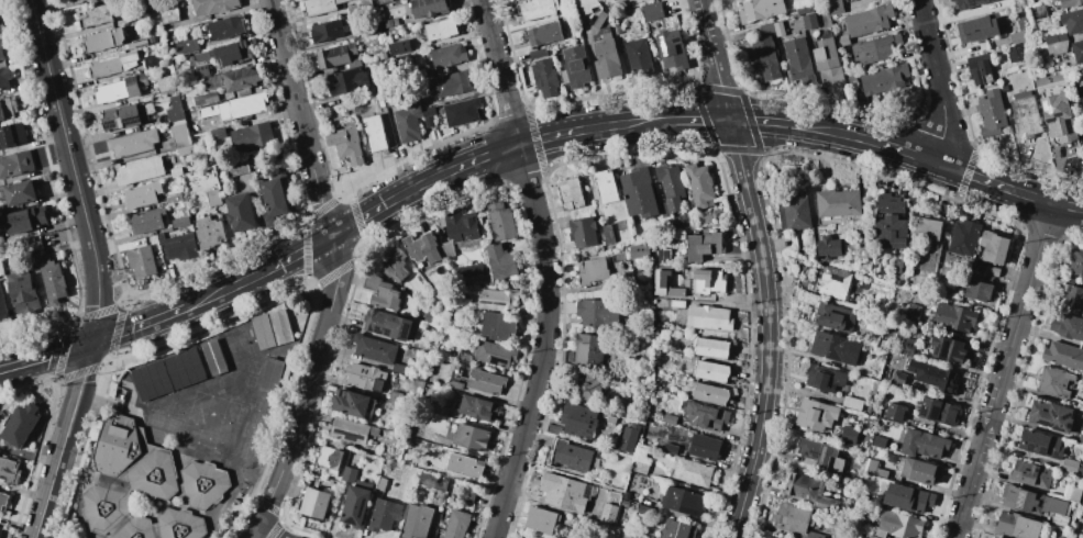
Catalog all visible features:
building: (90, 0)
building: (612, 0)
building: (615, 0)
building: (952, 0)
building: (1054, 0)
building: (77, 1)
building: (384, 1)
building: (1071, 2)
building: (971, 3)
building: (212, 5)
building: (361, 5)
building: (586, 5)
building: (836, 5)
building: (804, 7)
building: (319, 8)
building: (429, 8)
building: (539, 9)
building: (653, 9)
building: (760, 10)
building: (1039, 12)
building: (168, 14)
building: (96, 16)
building: (599, 20)
building: (870, 21)
building: (1073, 21)
building: (393, 22)
building: (809, 22)
building: (650, 25)
building: (226, 27)
building: (778, 27)
building: (371, 29)
building: (766, 29)
building: (977, 29)
building: (441, 30)
building: (328, 31)
building: (543, 34)
building: (1016, 38)
building: (102, 40)
building: (151, 40)
building: (842, 41)
building: (136, 43)
building: (1056, 43)
building: (187, 46)
rooftop solar panel: (664, 46)
building: (398, 47)
building: (672, 49)
building: (874, 49)
building: (229, 52)
building: (1078, 52)
building: (1, 53)
building: (1016, 53)
building: (538, 54)
building: (606, 54)
building: (335, 56)
building: (447, 56)
building: (639, 58)
building: (765, 58)
building: (798, 59)
building: (153, 61)
building: (354, 64)
building: (112, 65)
building: (829, 65)
building: (575, 67)
building: (981, 68)
building: (201, 71)
building: (4, 78)
building: (241, 78)
building: (544, 78)
building: (884, 78)
road: (939, 80)
building: (347, 82)
building: (450, 83)
building: (165, 85)
building: (1005, 88)
building: (120, 89)
building: (1080, 90)
building: (210, 98)
building: (379, 100)
building: (246, 105)
building: (8, 109)
building: (175, 109)
building: (462, 111)
building: (992, 113)
building: (1058, 114)
building: (429, 115)
building: (1026, 115)
building: (124, 117)
road: (696, 120)
building: (408, 121)
traffic signals: (728, 121)
road: (759, 121)
rooftop solar panel: (131, 122)
rooftop solar panel: (109, 124)
building: (201, 126)
building: (375, 133)
building: (218, 134)
building: (12, 135)
building: (180, 136)
building: (250, 137)
building: (134, 144)
building: (346, 145)
building: (1073, 152)
road: (937, 162)
building: (15, 165)
building: (237, 167)
road: (71, 170)
building: (140, 171)
building: (177, 172)
building: (287, 183)
building: (699, 184)
building: (671, 186)
building: (605, 187)
road: (415, 188)
building: (20, 192)
building: (639, 192)
building: (142, 194)
building: (571, 194)
building: (175, 198)
building: (213, 198)
building: (274, 199)
building: (838, 204)
building: (889, 204)
building: (795, 211)
building: (241, 212)
building: (26, 220)
building: (148, 222)
building: (181, 222)
building: (500, 222)
building: (927, 228)
building: (458, 231)
building: (584, 232)
building: (891, 232)
building: (209, 233)
building: (607, 234)
building: (963, 237)
building: (179, 246)
building: (704, 246)
building: (421, 247)
building: (638, 250)
building: (994, 251)
building: (618, 258)
building: (142, 261)
building: (501, 261)
building: (1076, 264)
building: (395, 265)
road: (762, 267)
road: (548, 268)
building: (1, 269)
building: (468, 270)
building: (593, 271)
road: (335, 273)
building: (49, 277)
building: (706, 280)
building: (659, 282)
building: (836, 282)
building: (23, 290)
building: (977, 291)
building: (382, 292)
building: (677, 293)
building: (496, 298)
building: (1073, 299)
building: (677, 304)
building: (2, 305)
building: (913, 311)
building: (598, 312)
building: (429, 317)
building: (709, 317)
building: (835, 317)
building: (954, 317)
building: (387, 325)
building: (497, 326)
road: (137, 327)
building: (1070, 327)
traffic signals: (91, 344)
building: (908, 346)
building: (835, 347)
building: (712, 348)
building: (374, 349)
building: (948, 349)
building: (589, 350)
rooftop solar panel: (937, 350)
rooftop solar panel: (946, 351)
building: (210, 354)
building: (495, 355)
building: (1063, 355)
road: (45, 357)
building: (464, 357)
building: (398, 369)
road: (1007, 369)
building: (711, 371)
building: (270, 374)
building: (363, 377)
building: (825, 378)
building: (937, 378)
building: (897, 379)
building: (486, 382)
building: (1054, 382)
building: (455, 385)
building: (587, 388)
road: (78, 390)
building: (710, 394)
building: (395, 396)
building: (852, 403)
building: (353, 404)
building: (476, 408)
building: (894, 412)
rooftop solar panel: (924, 412)
building: (938, 412)
rooftop solar panel: (936, 414)
building: (816, 415)
rooftop solar panel: (1054, 415)
building: (706, 416)
building: (1051, 416)
rooftop solar panel: (1068, 417)
building: (670, 419)
building: (578, 421)
rooftop solar panel: (1045, 423)
building: (434, 424)
building: (20, 425)
rooftop solar panel: (1069, 426)
building: (553, 429)
building: (352, 430)
rooftop solar panel: (1060, 430)
building: (849, 435)
building: (469, 436)
rooftop solar panel: (347, 437)
building: (629, 438)
building: (878, 442)
building: (922, 444)
building: (1040, 444)
building: (705, 447)
rooftop solar panel: (1031, 448)
building: (671, 449)
rooftop solar panel: (1041, 451)
building: (820, 455)
rooftop solar panel: (1056, 455)
building: (570, 456)
rooftop solar panel: (822, 456)
building: (329, 459)
building: (465, 466)
building: (1070, 466)
building: (640, 468)
building: (874, 468)
building: (917, 471)
building: (9, 472)
building: (692, 472)
building: (349, 474)
building: (1031, 474)
building: (432, 481)
building: (380, 483)
building: (202, 484)
building: (133, 485)
road: (48, 486)
building: (564, 490)
building: (809, 493)
building: (1073, 494)
building: (469, 495)
building: (907, 498)
building: (3, 500)
building: (683, 501)
rooftop solar panel: (1021, 501)
building: (1032, 502)
building: (316, 503)
rooftop solar panel: (825, 504)
building: (355, 506)
building: (643, 511)
building: (384, 515)
building: (795, 518)
building: (541, 519)
building: (1059, 519)
building: (417, 522)
building: (457, 524)
building: (897, 526)
building: (1017, 526)
building: (677, 529)
building: (0, 530)
road: (263, 530)
building: (626, 534)
building: (814, 535)
building: (765, 537)
building: (770, 537)
building: (873, 537)
building: (996, 537)

